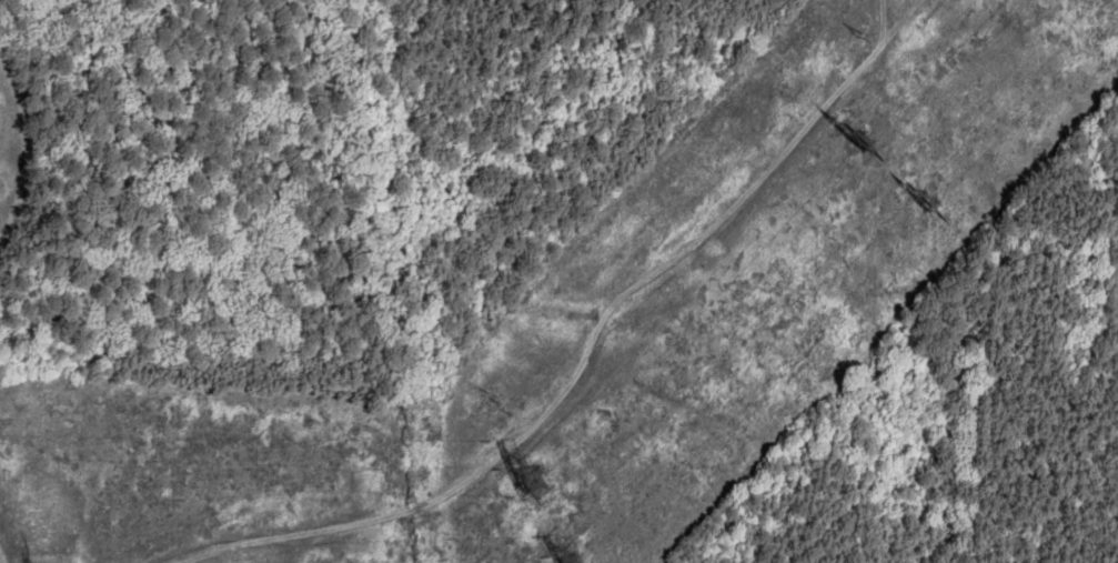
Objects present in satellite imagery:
power tower: (862, 144)
road: (23, 147)
power tower: (920, 207)
power tower: (524, 486)
road: (1, 560)
power tower: (562, 562)

